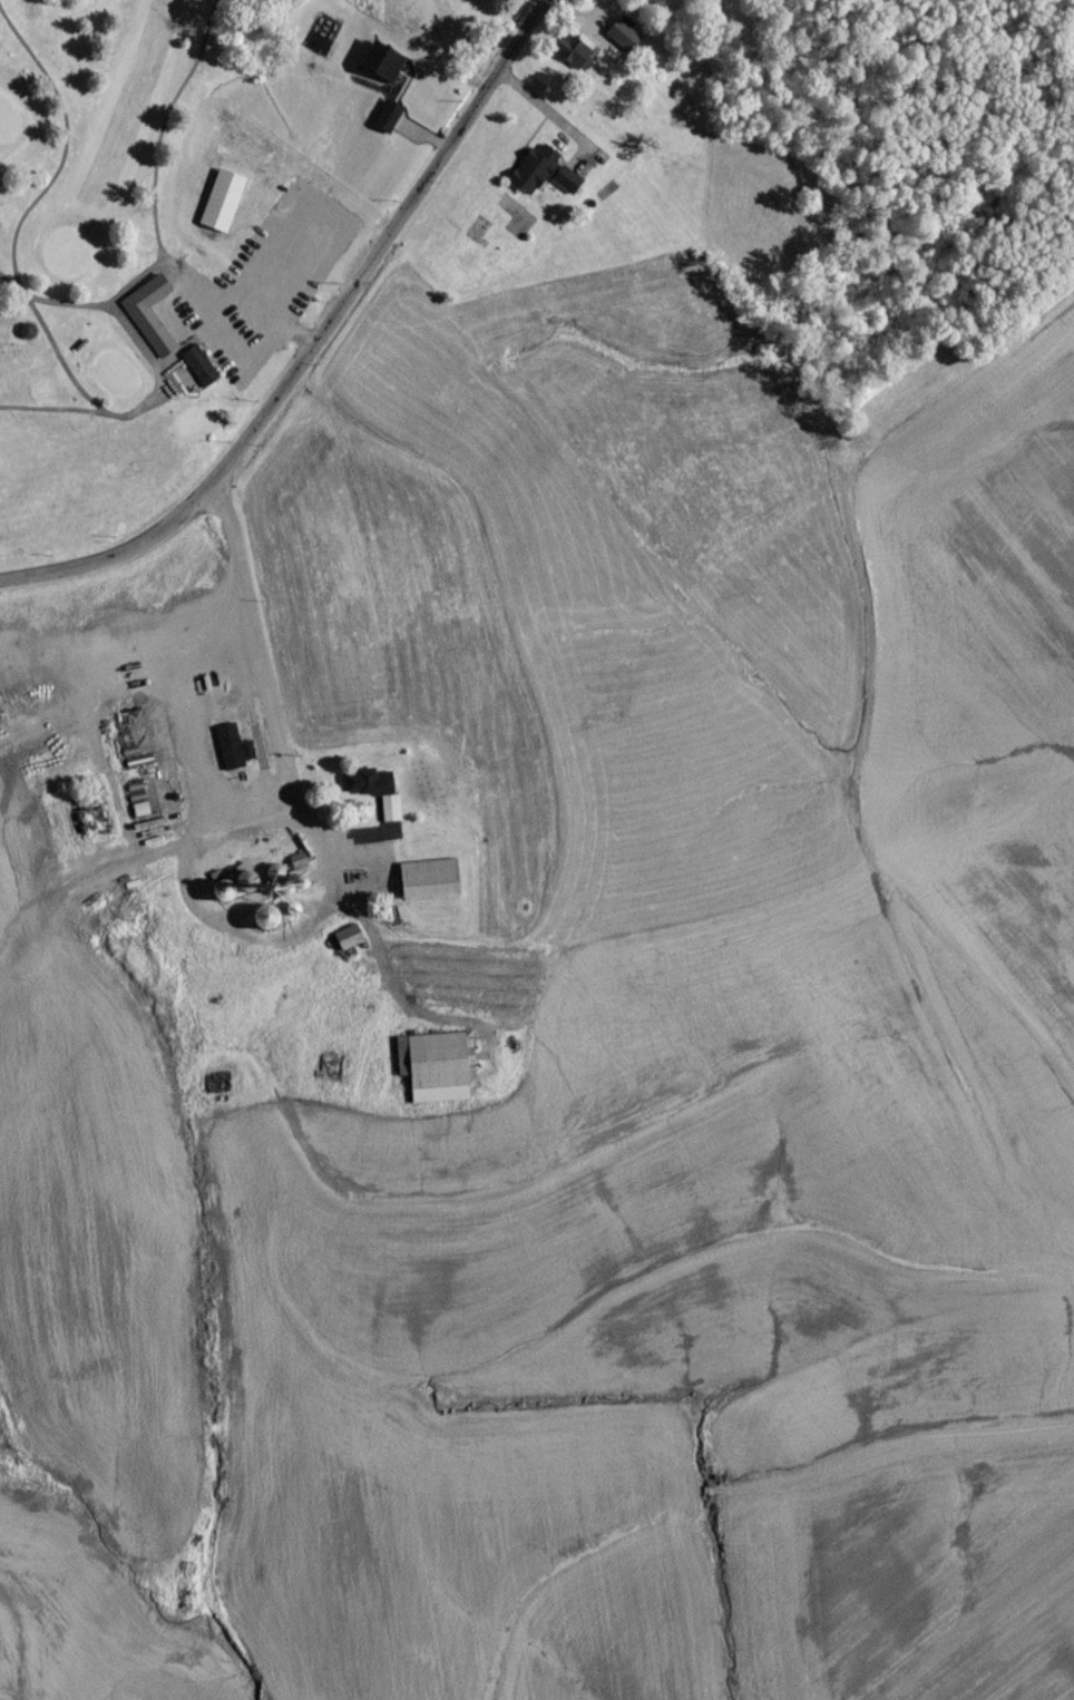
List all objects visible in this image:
building: (623, 41)
building: (574, 58)
building: (422, 101)
building: (382, 126)
road: (65, 152)
road: (154, 176)
building: (540, 177)
building: (219, 207)
park: (251, 232)
building: (473, 242)
road: (7, 286)
road: (135, 286)
road: (273, 317)
building: (146, 321)
building: (27, 338)
road: (312, 348)
building: (198, 372)
road: (148, 409)
road: (53, 416)
road: (258, 658)
building: (230, 754)
building: (367, 791)
building: (389, 819)
building: (423, 883)
building: (345, 945)
building: (431, 1073)

